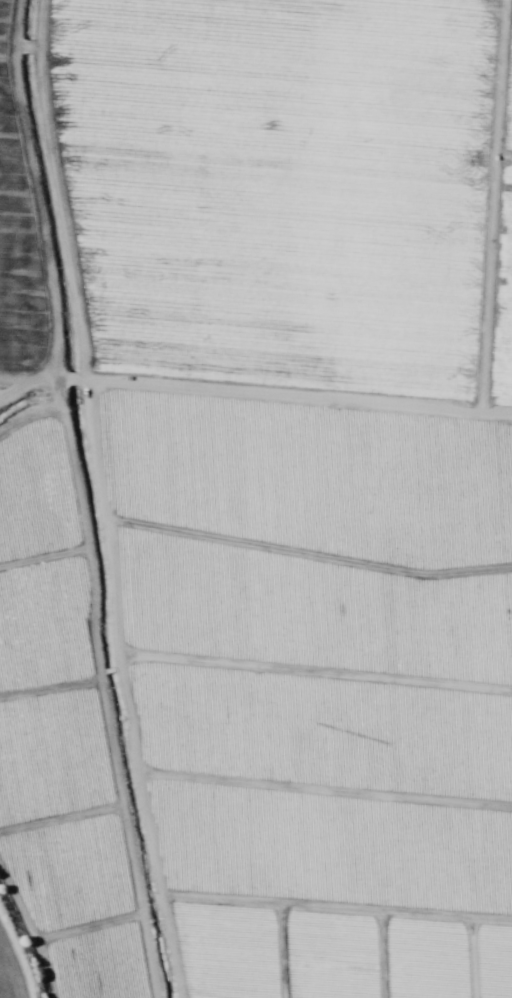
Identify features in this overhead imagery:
crop: (256, 499)

